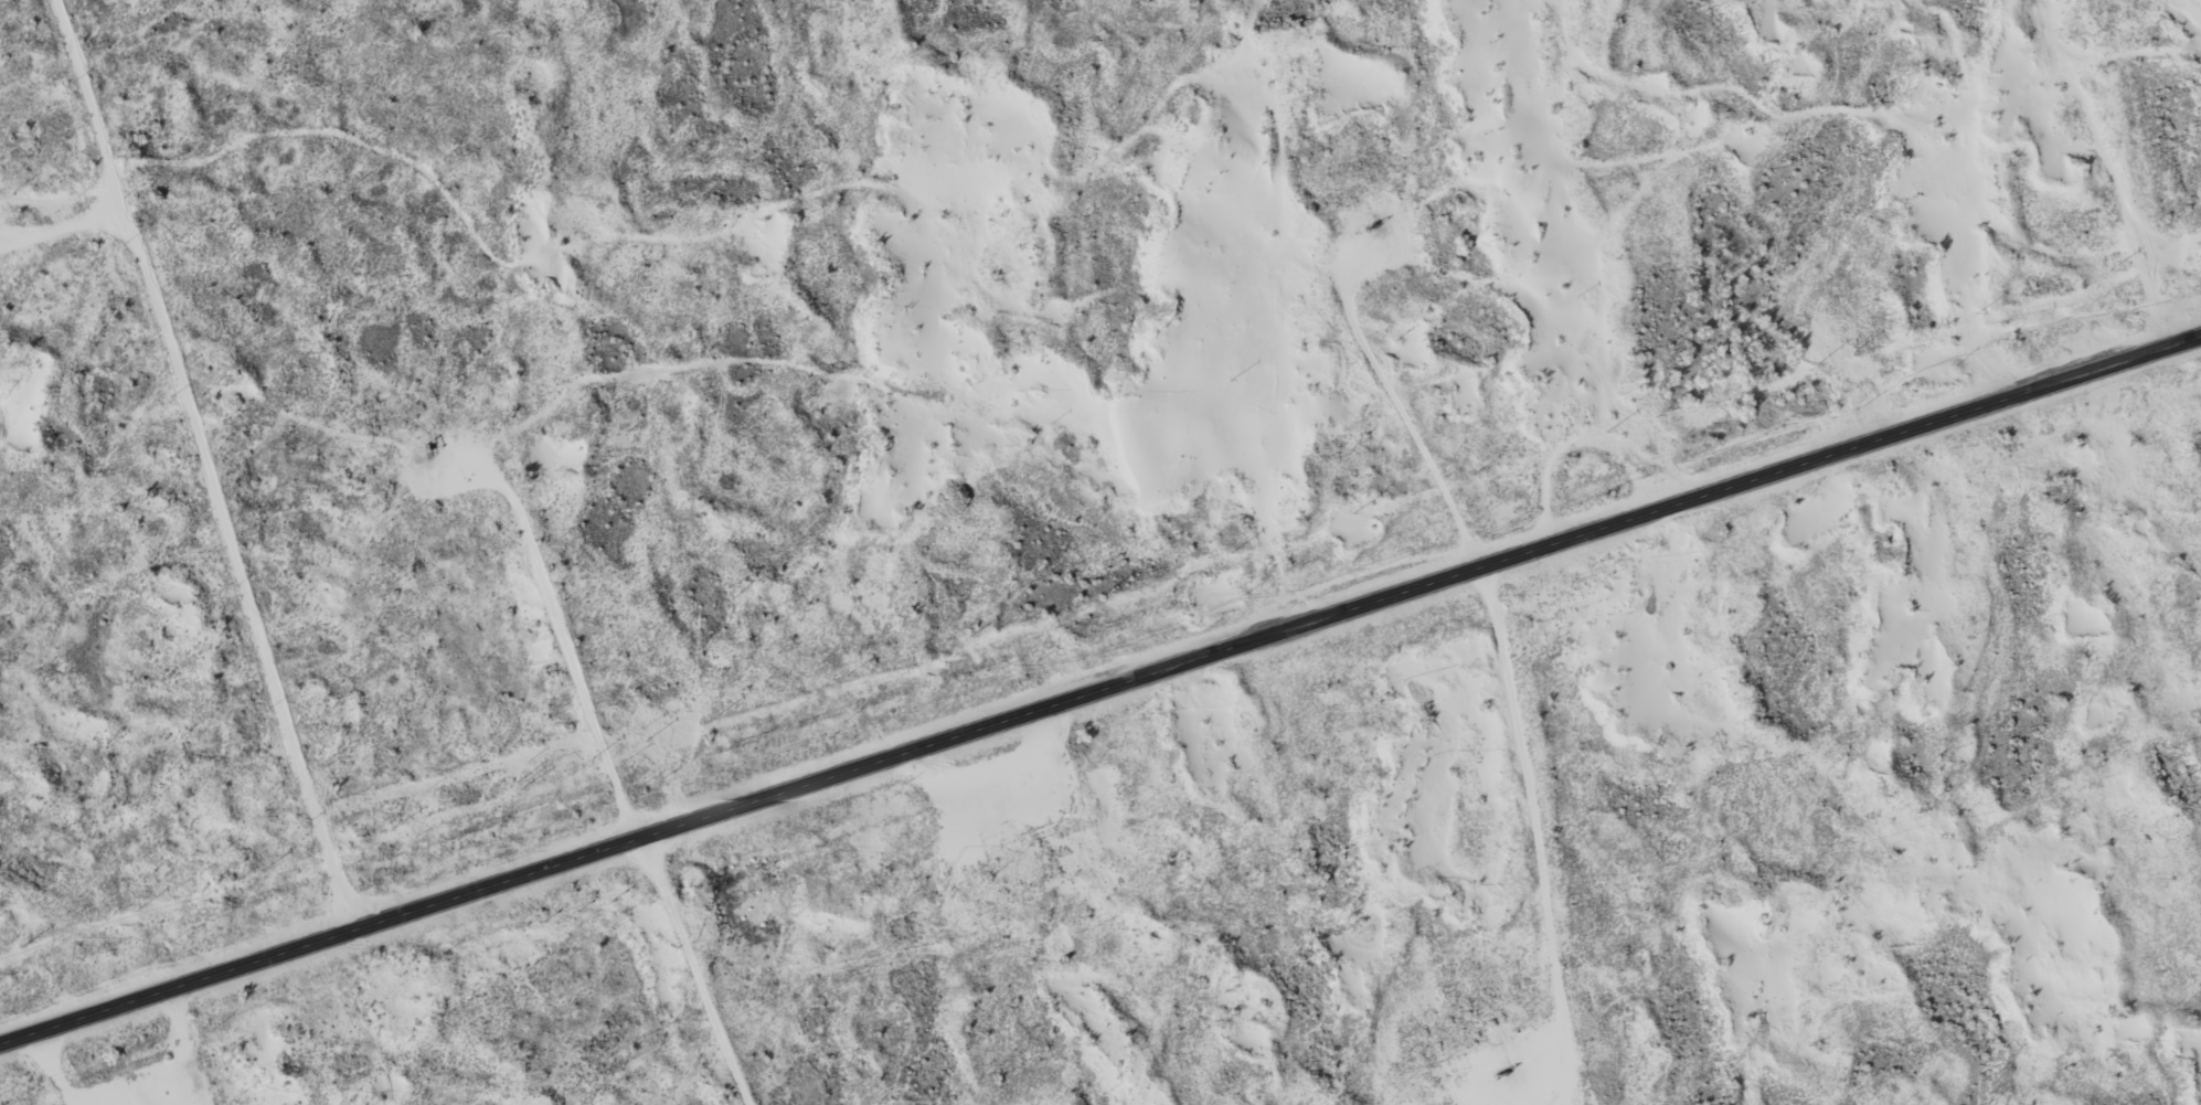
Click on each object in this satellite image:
road: (1100, 688)

